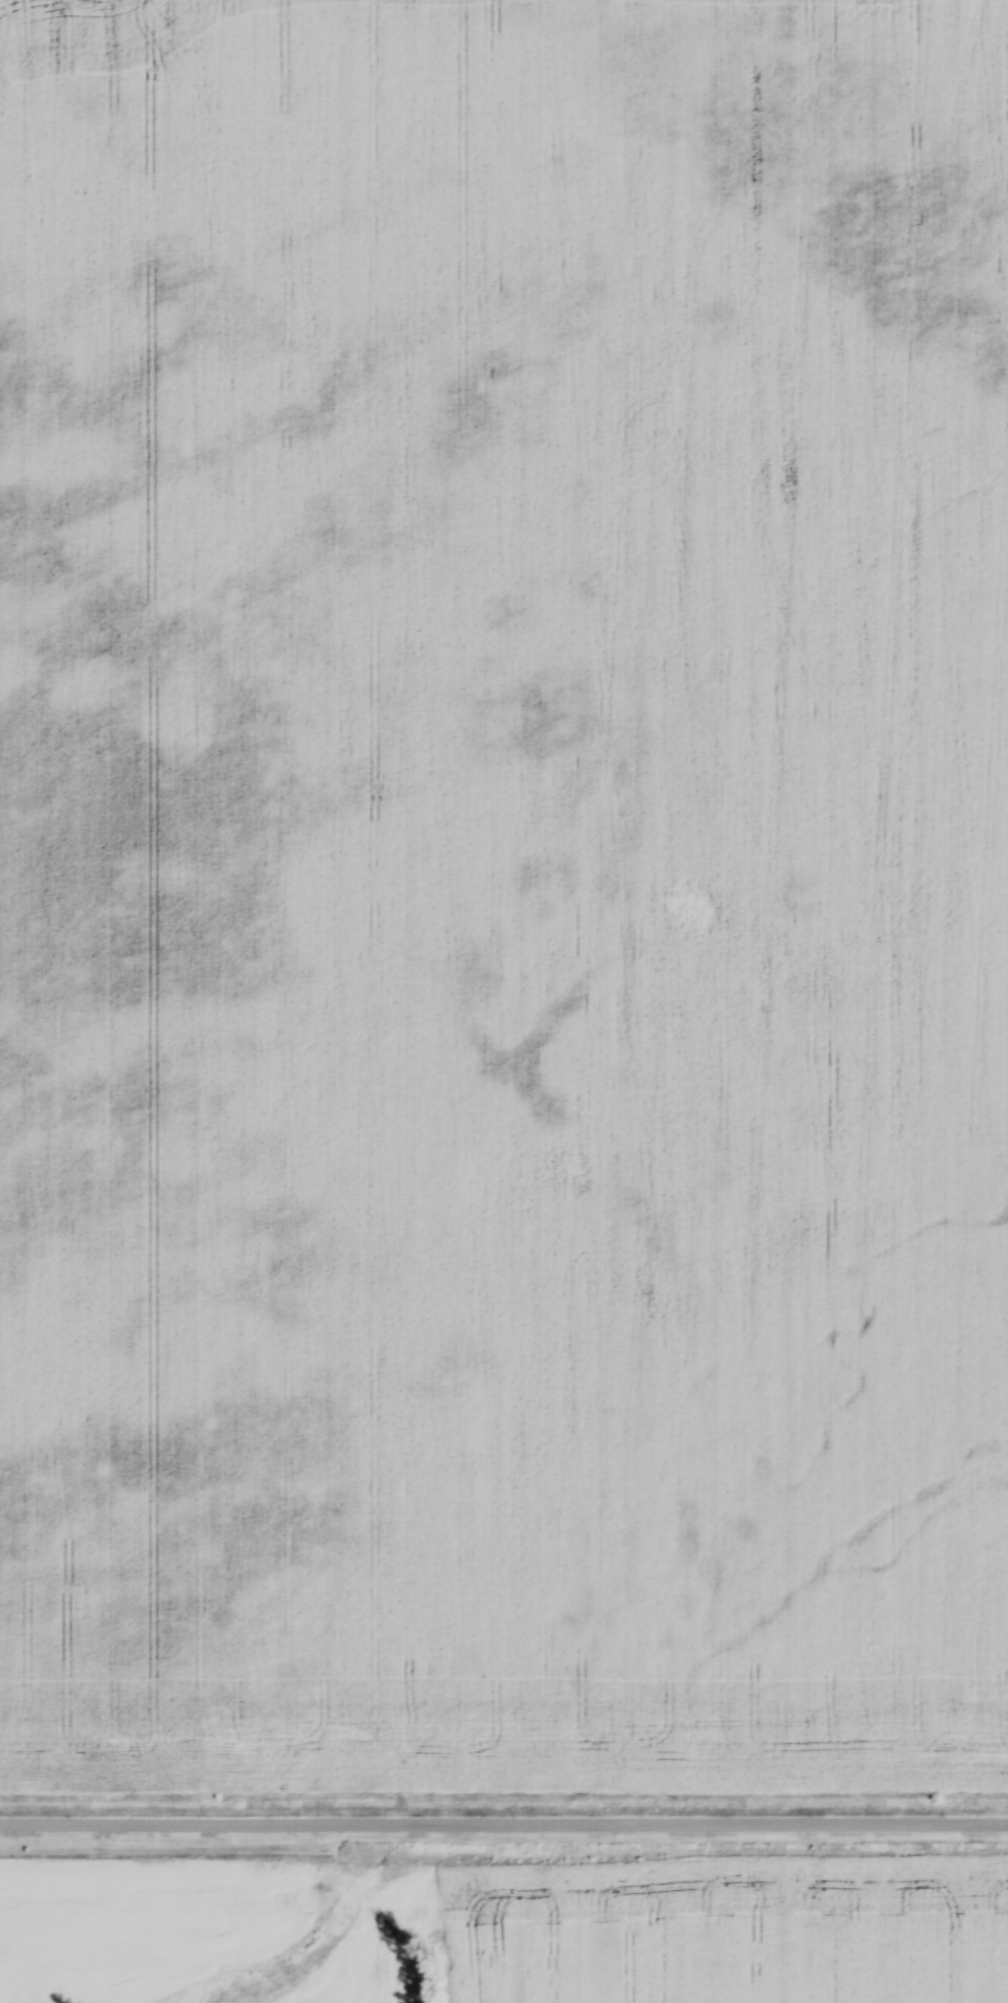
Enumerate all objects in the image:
road: (504, 1820)

